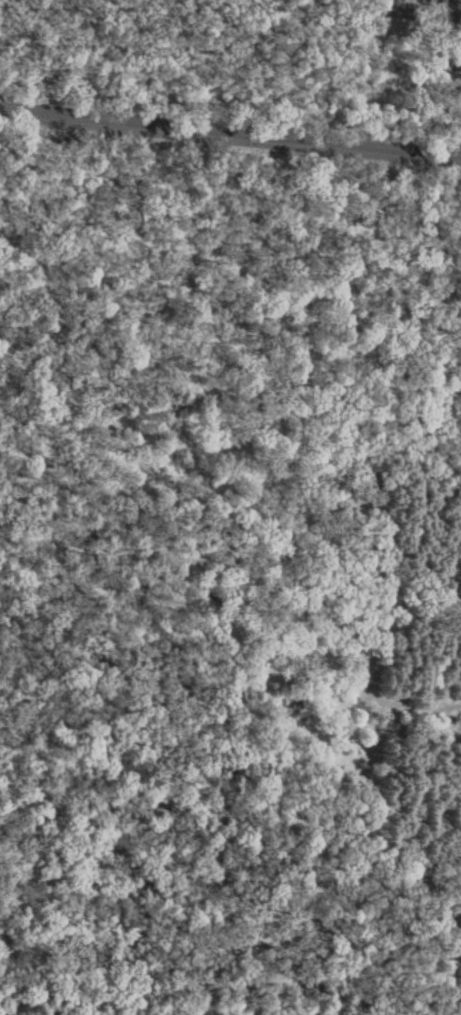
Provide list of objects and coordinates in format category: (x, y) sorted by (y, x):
road: (449, 20)
road: (230, 123)

